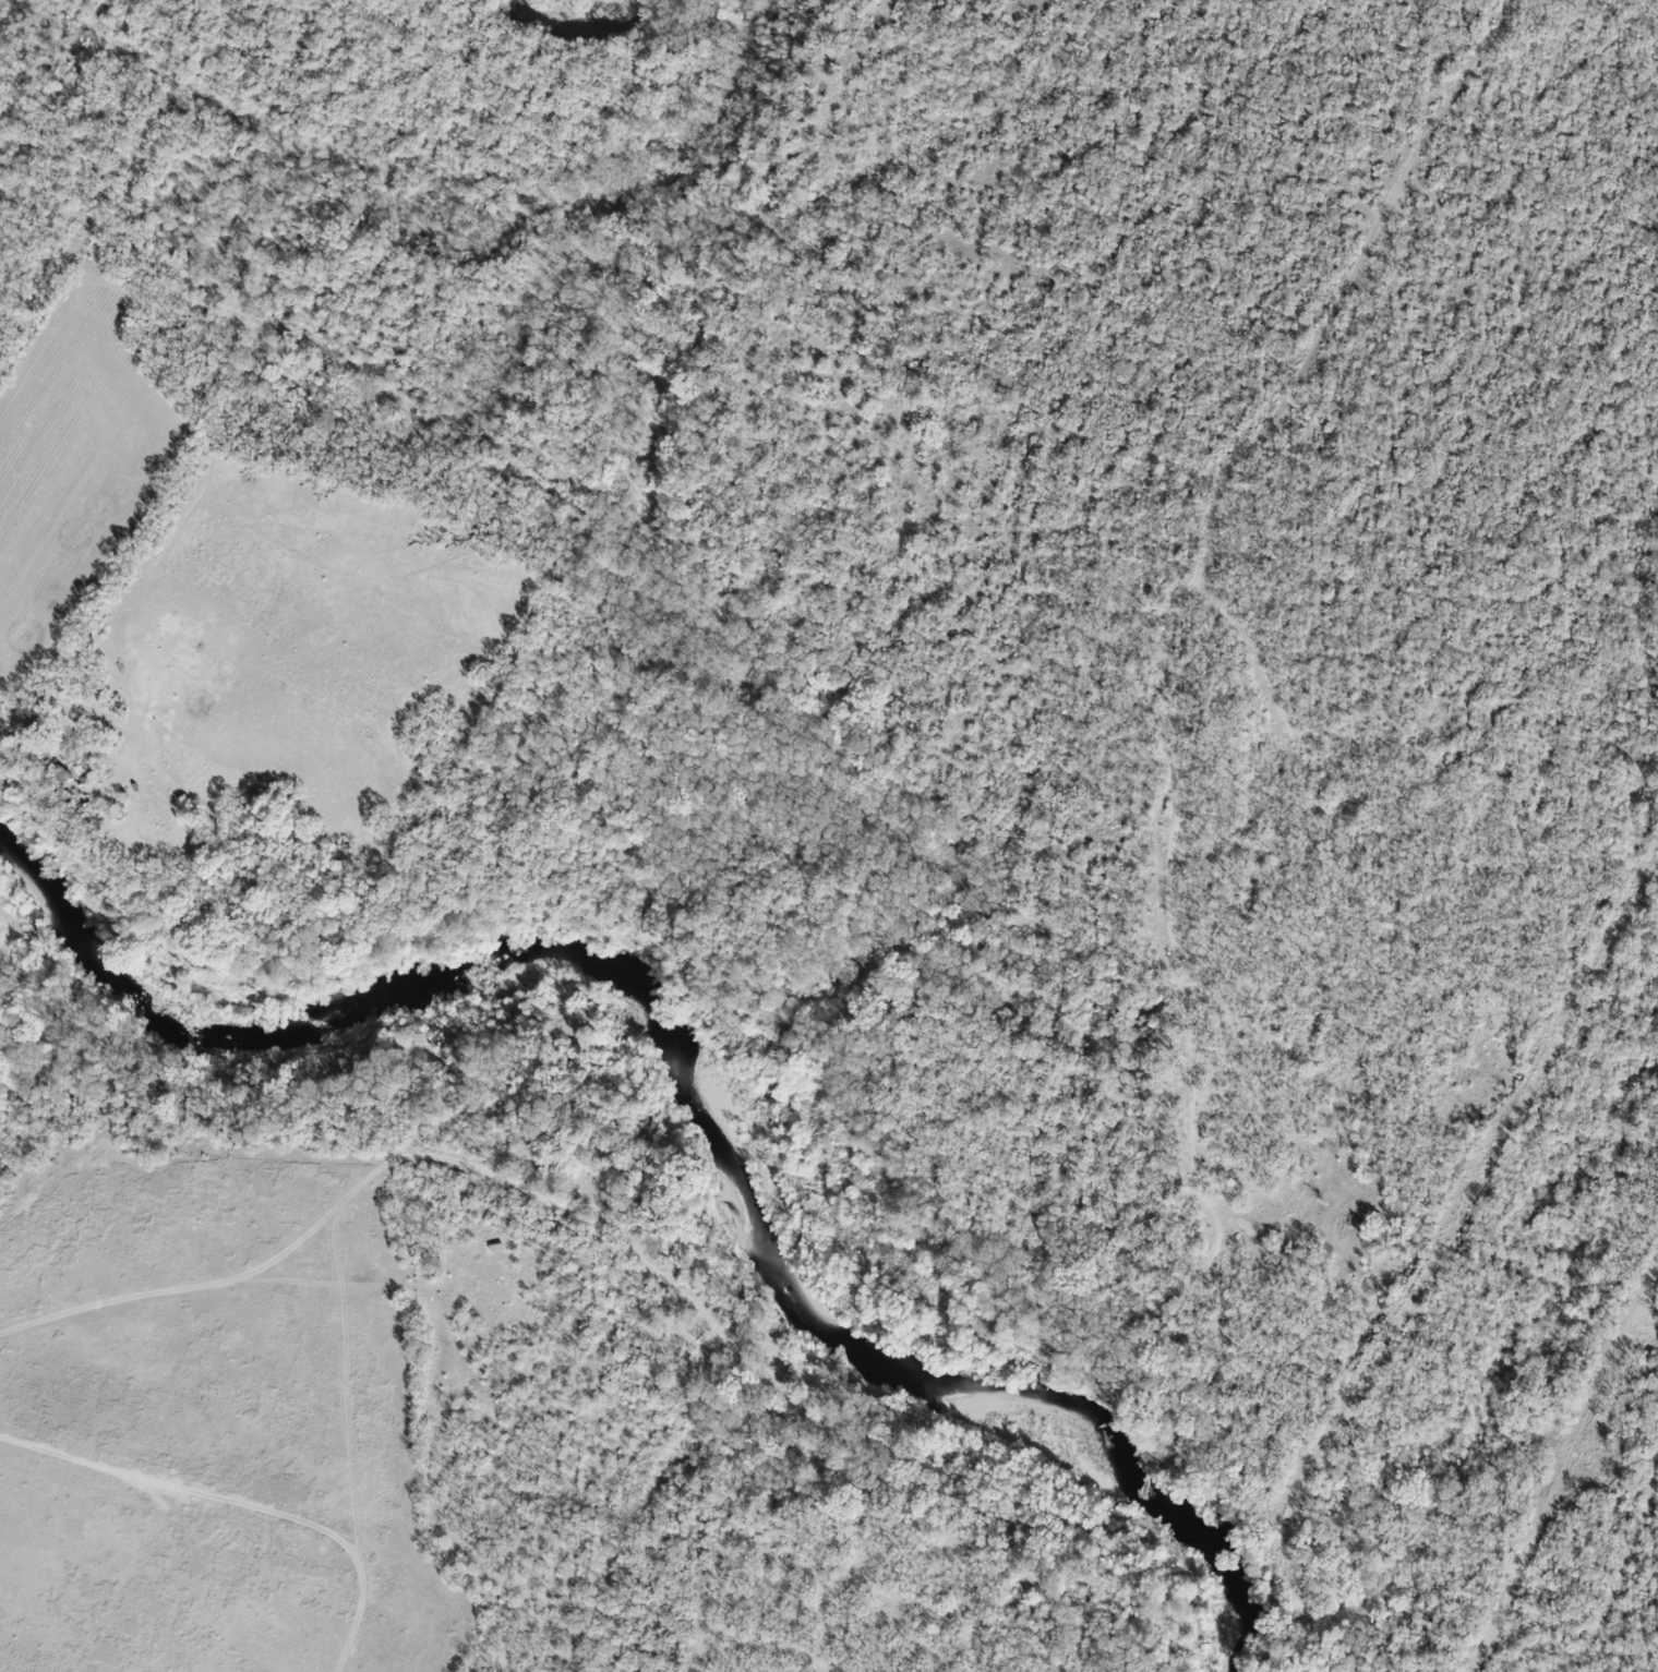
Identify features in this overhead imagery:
river: (698, 1110)

